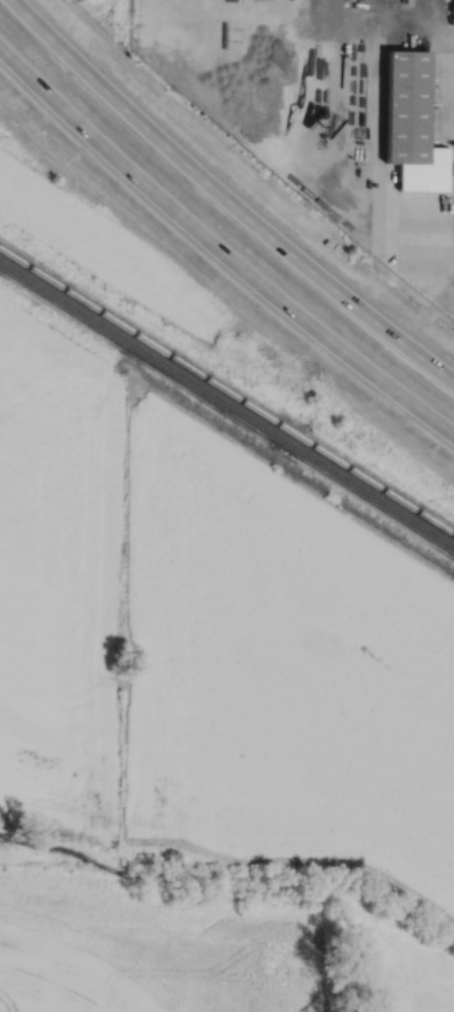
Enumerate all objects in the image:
road: (303, 113)
building: (410, 125)
road: (225, 199)
road: (444, 248)
road: (220, 249)
road: (444, 274)
railway: (226, 392)
railway: (227, 404)

